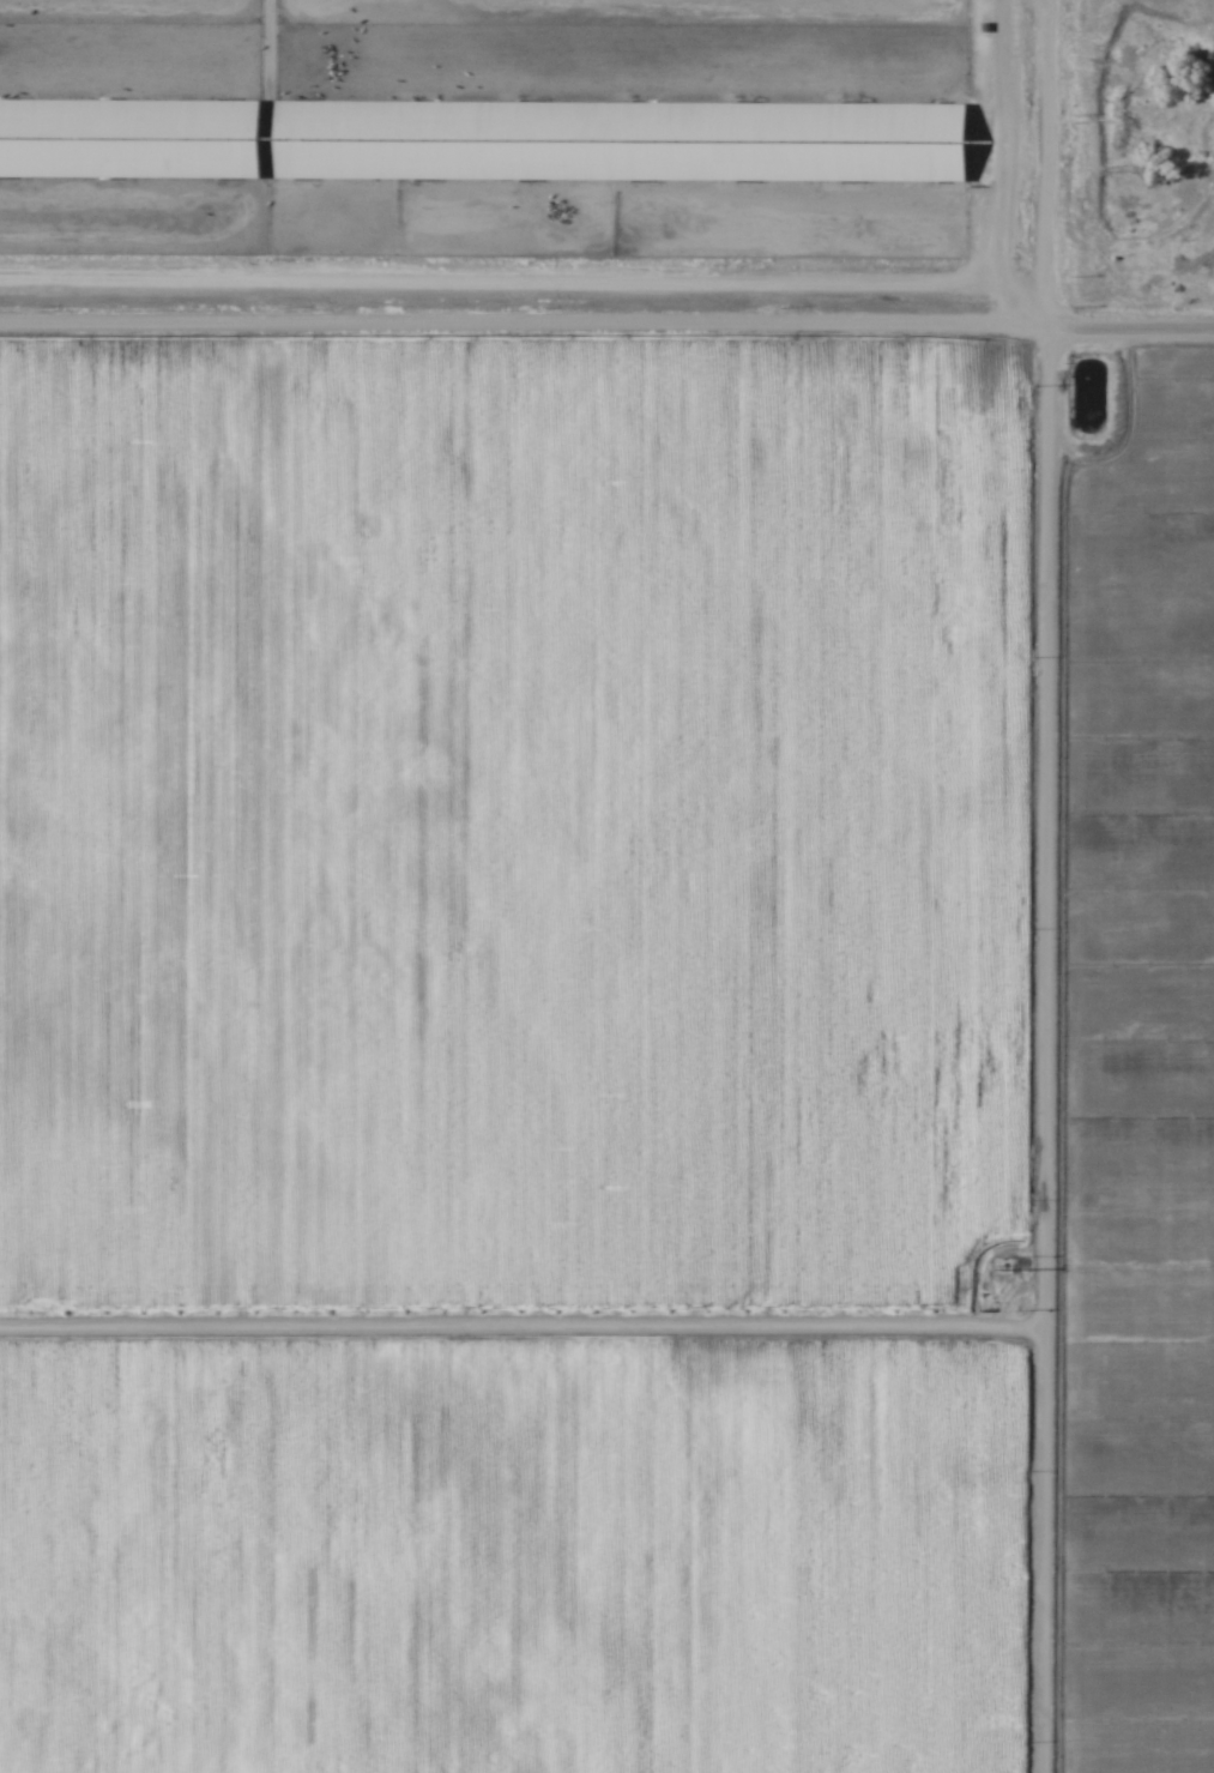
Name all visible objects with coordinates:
building: (128, 140)
building: (617, 143)
road: (989, 145)
road: (611, 293)
road: (1055, 1051)

